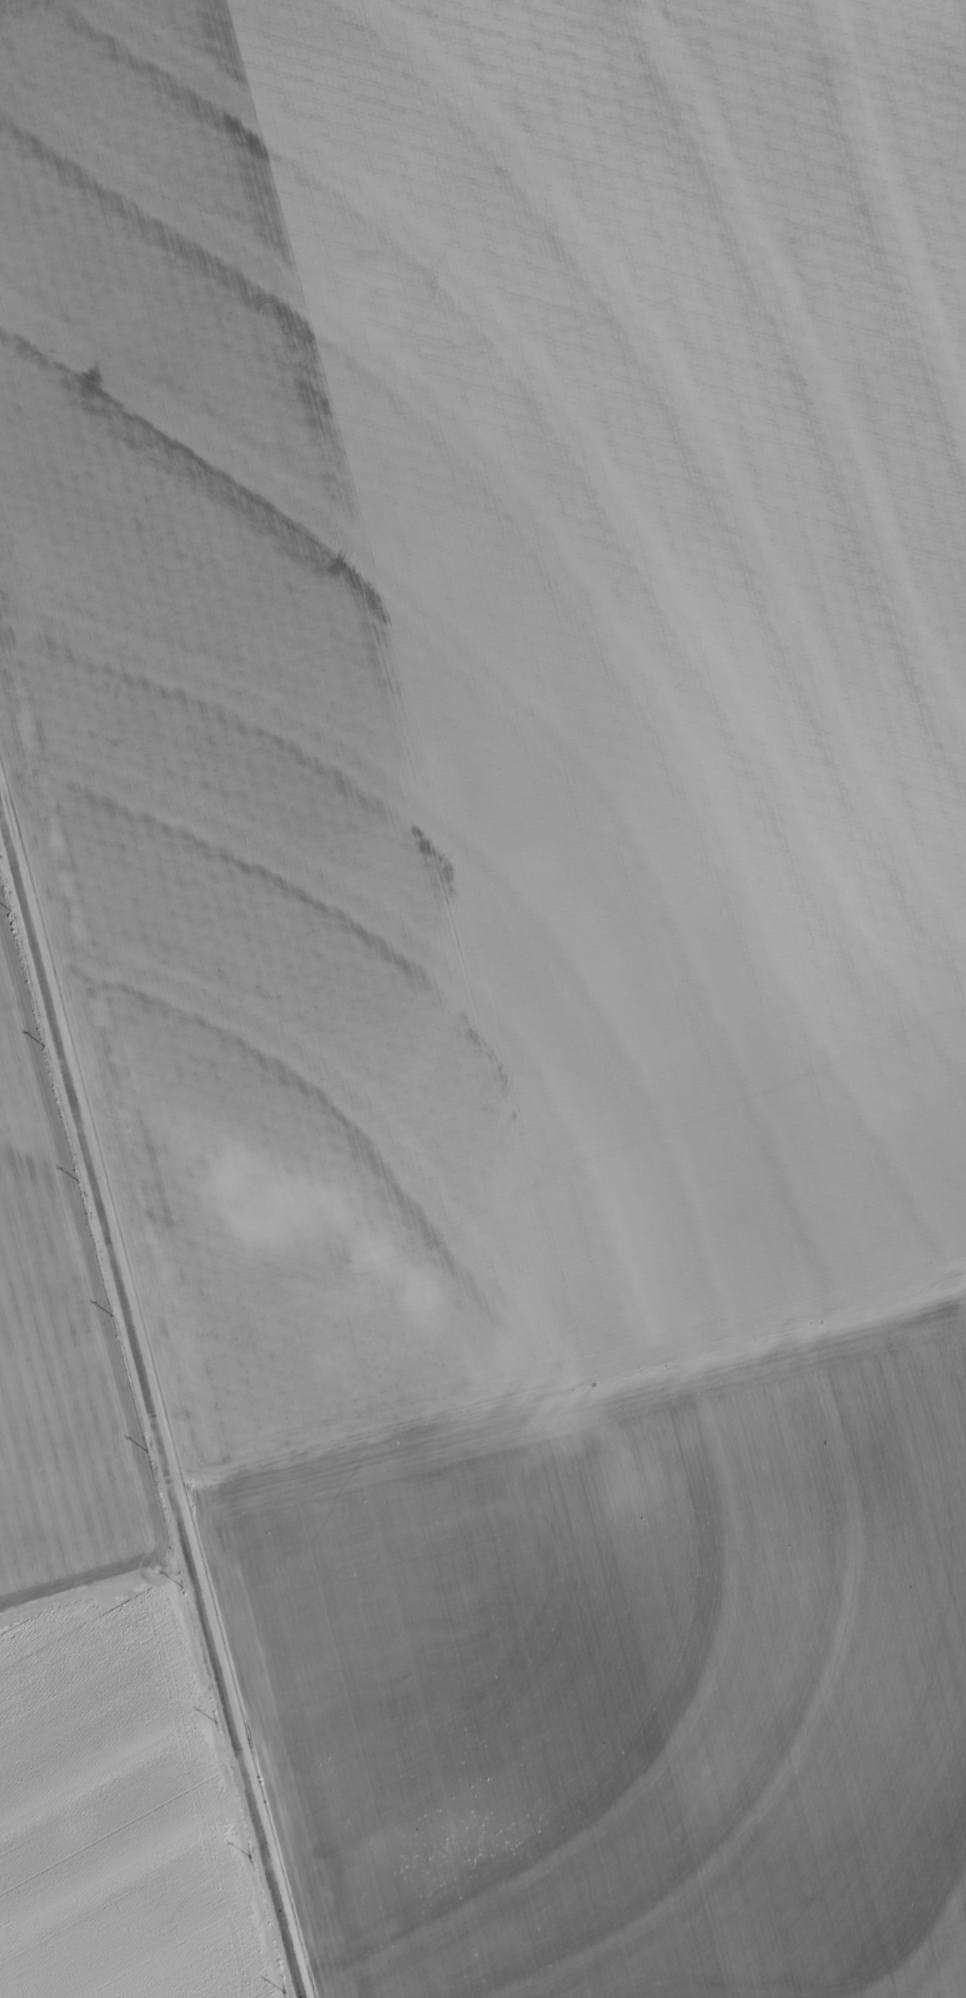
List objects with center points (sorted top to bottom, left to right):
road: (148, 1419)

